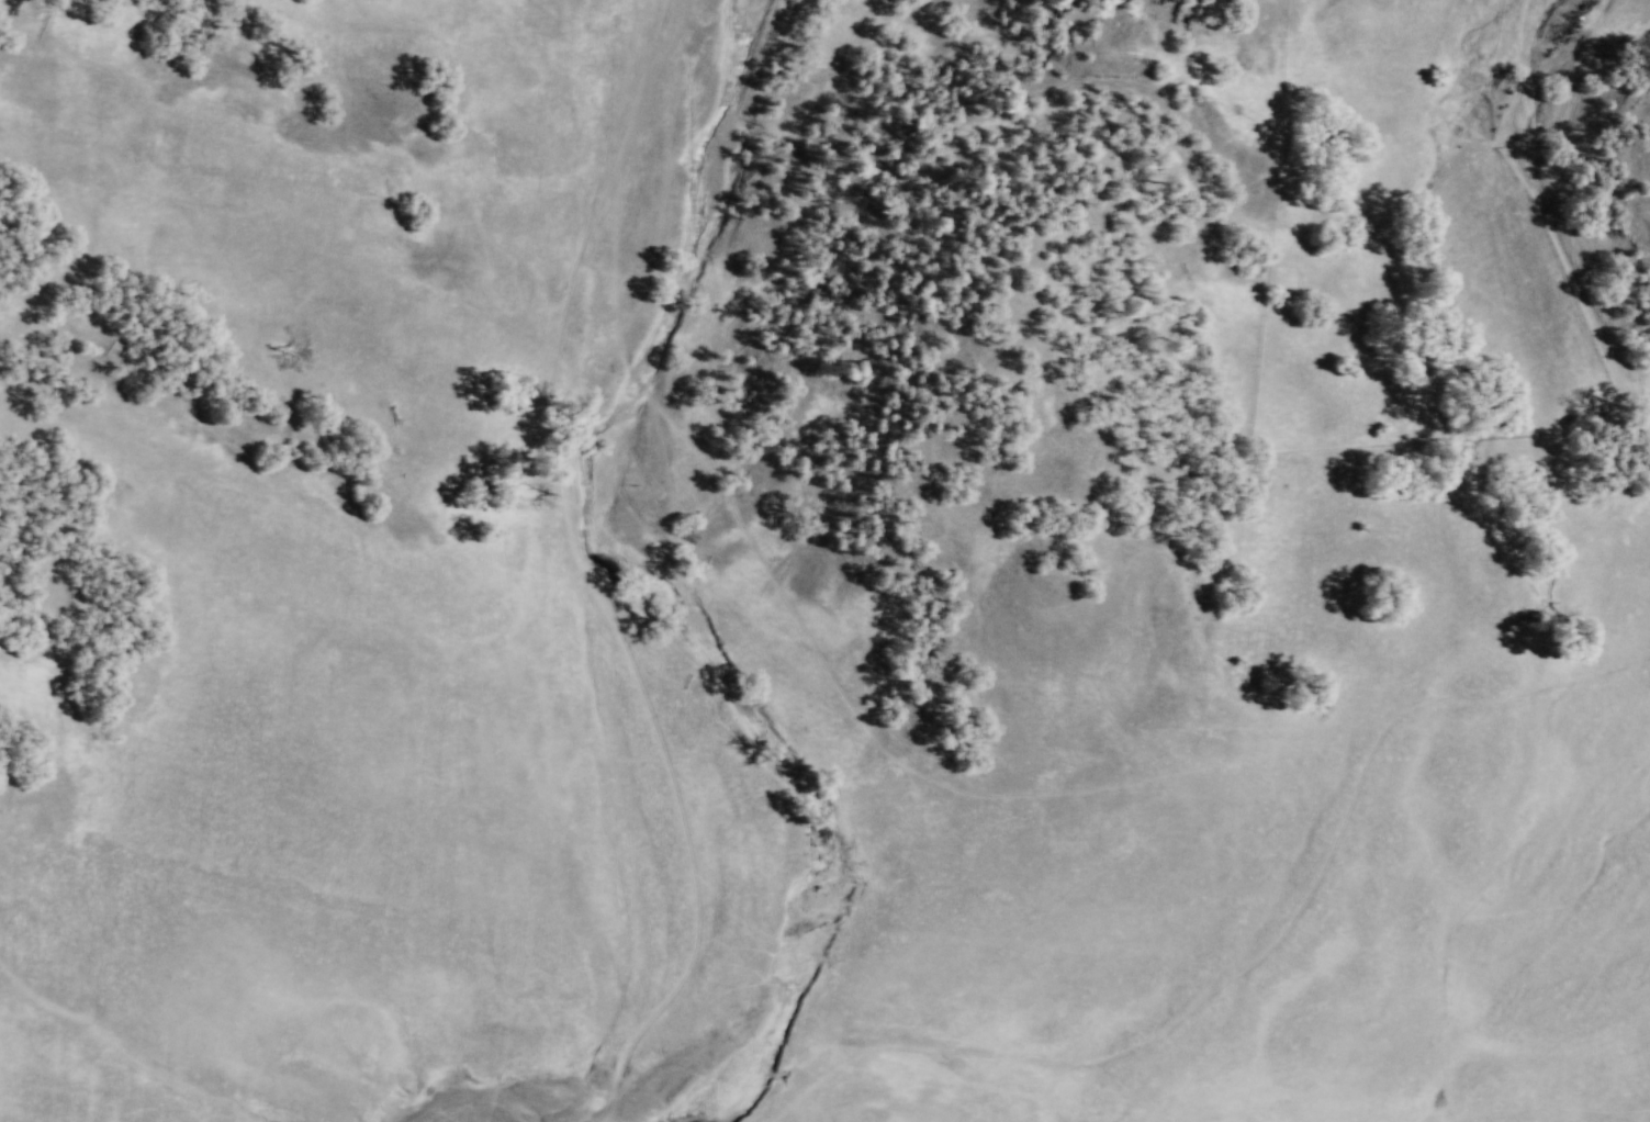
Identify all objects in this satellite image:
road: (1546, 209)
road: (585, 571)
road: (1249, 969)

